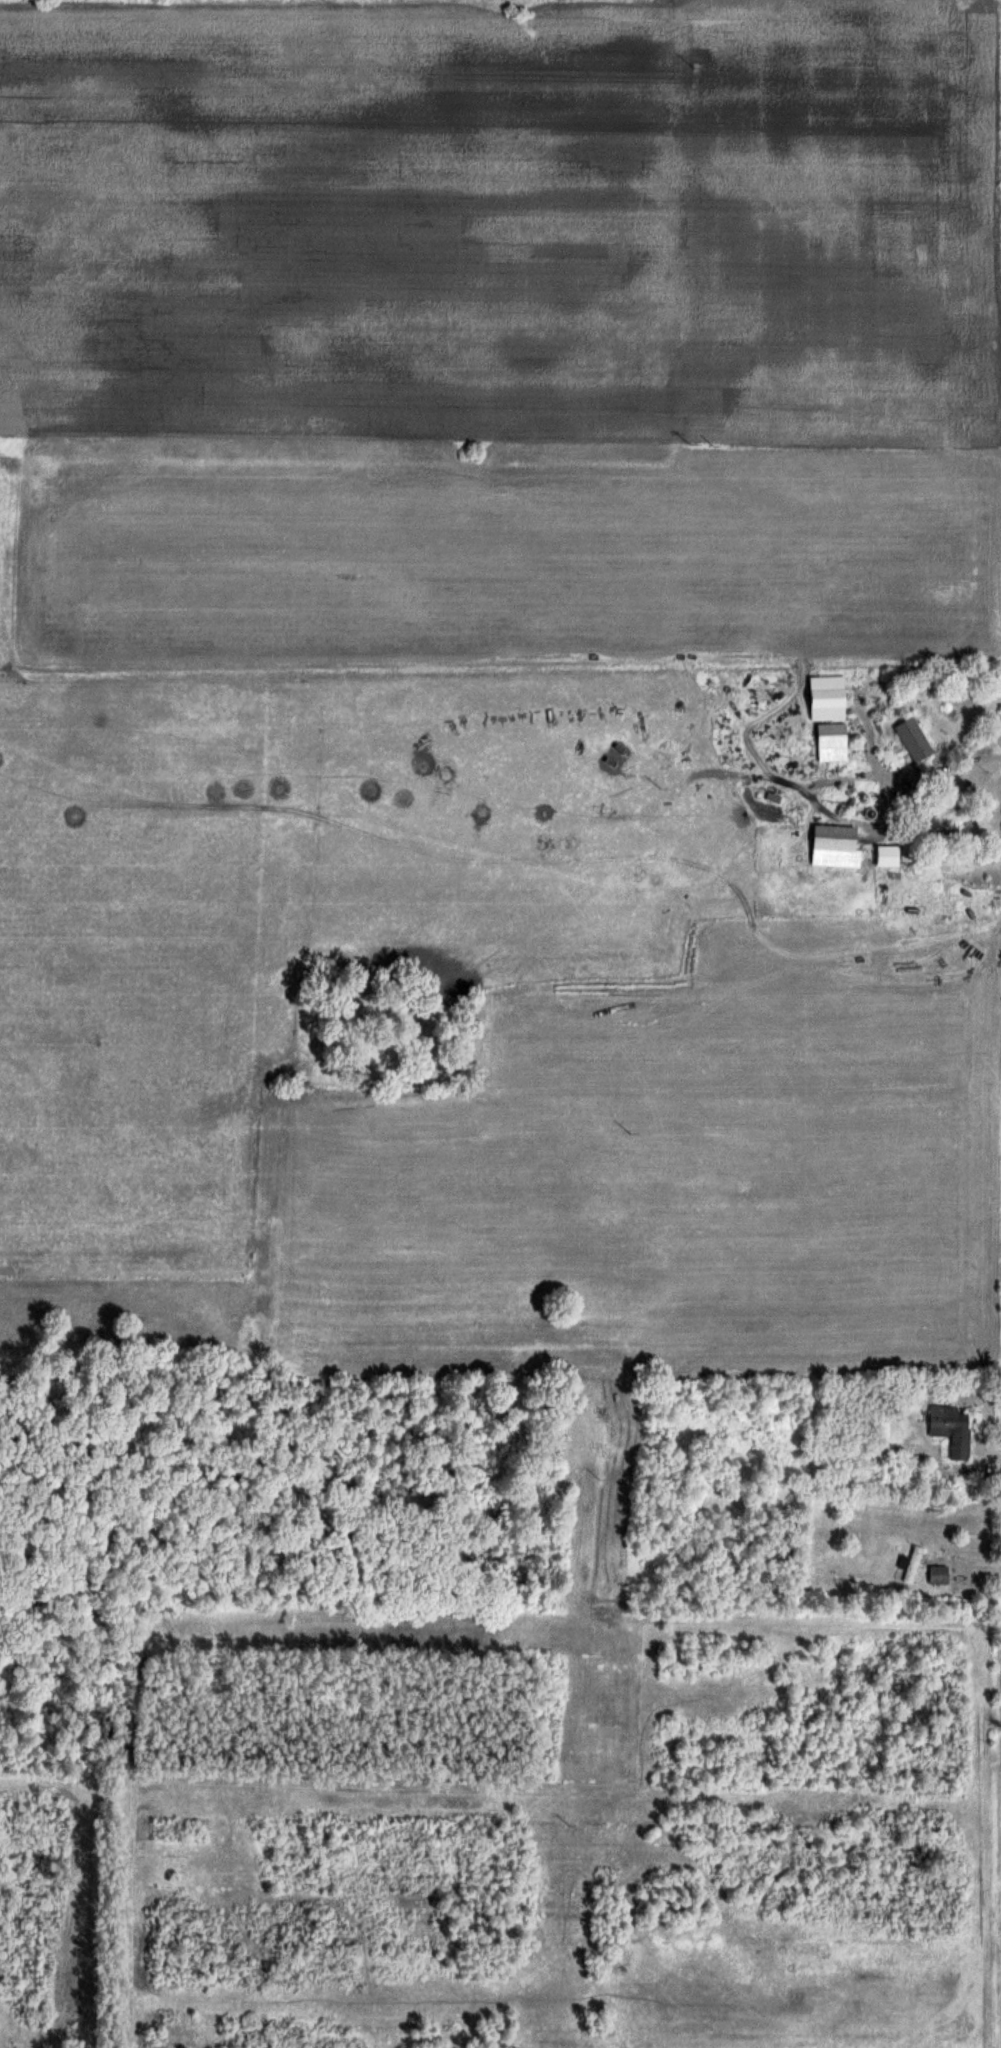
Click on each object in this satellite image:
building: (913, 740)
building: (831, 742)
road: (894, 776)
building: (942, 818)
building: (834, 846)
building: (955, 1430)
building: (910, 1563)
building: (937, 1573)

